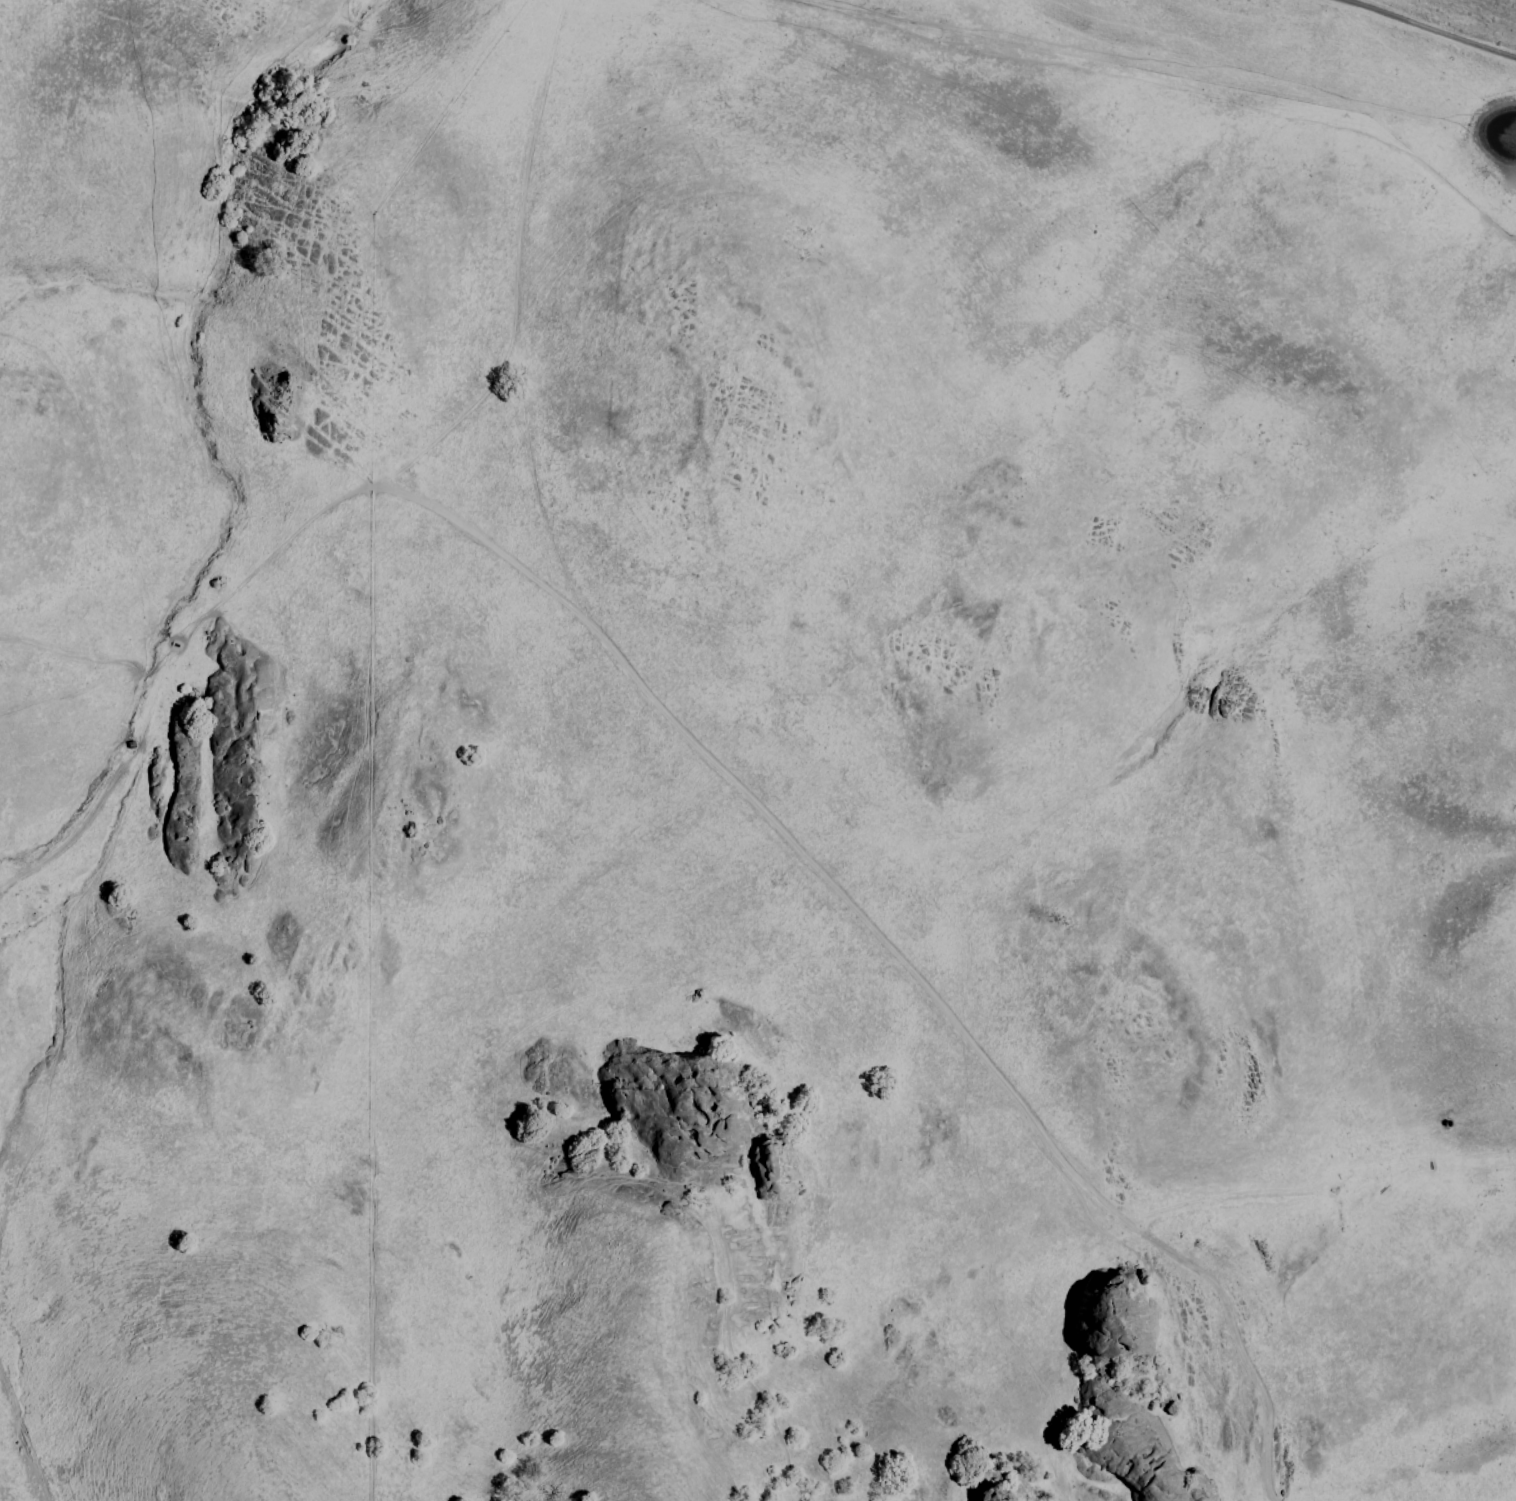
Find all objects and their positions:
road: (1426, 29)

